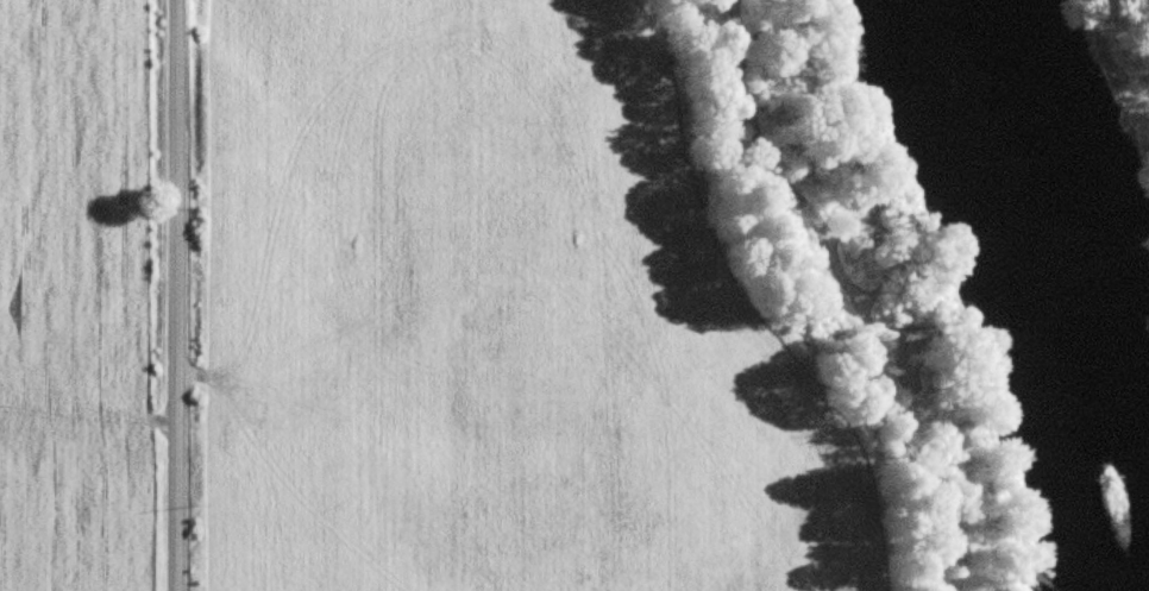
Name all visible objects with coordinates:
river: (1049, 293)
road: (168, 295)

